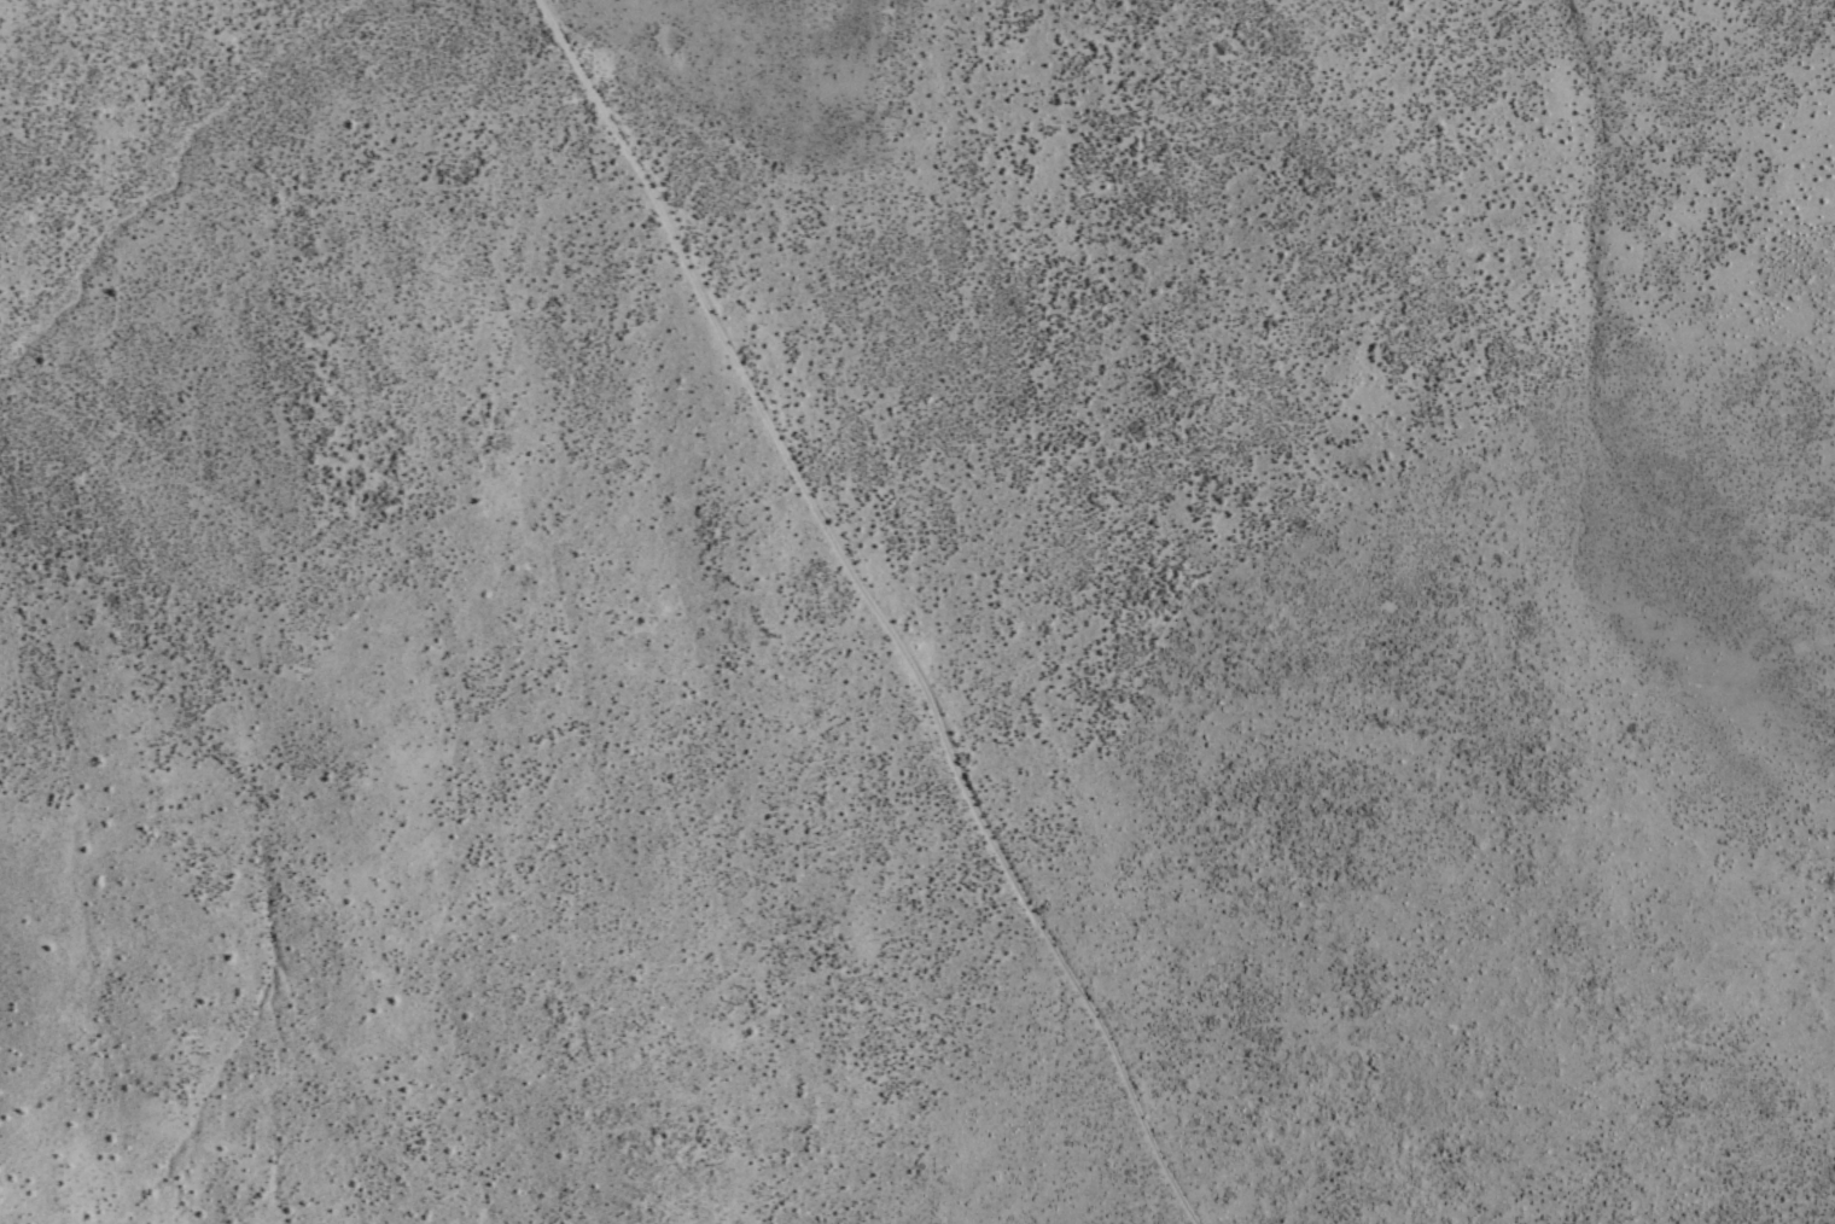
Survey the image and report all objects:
crop: (1729, 92)

